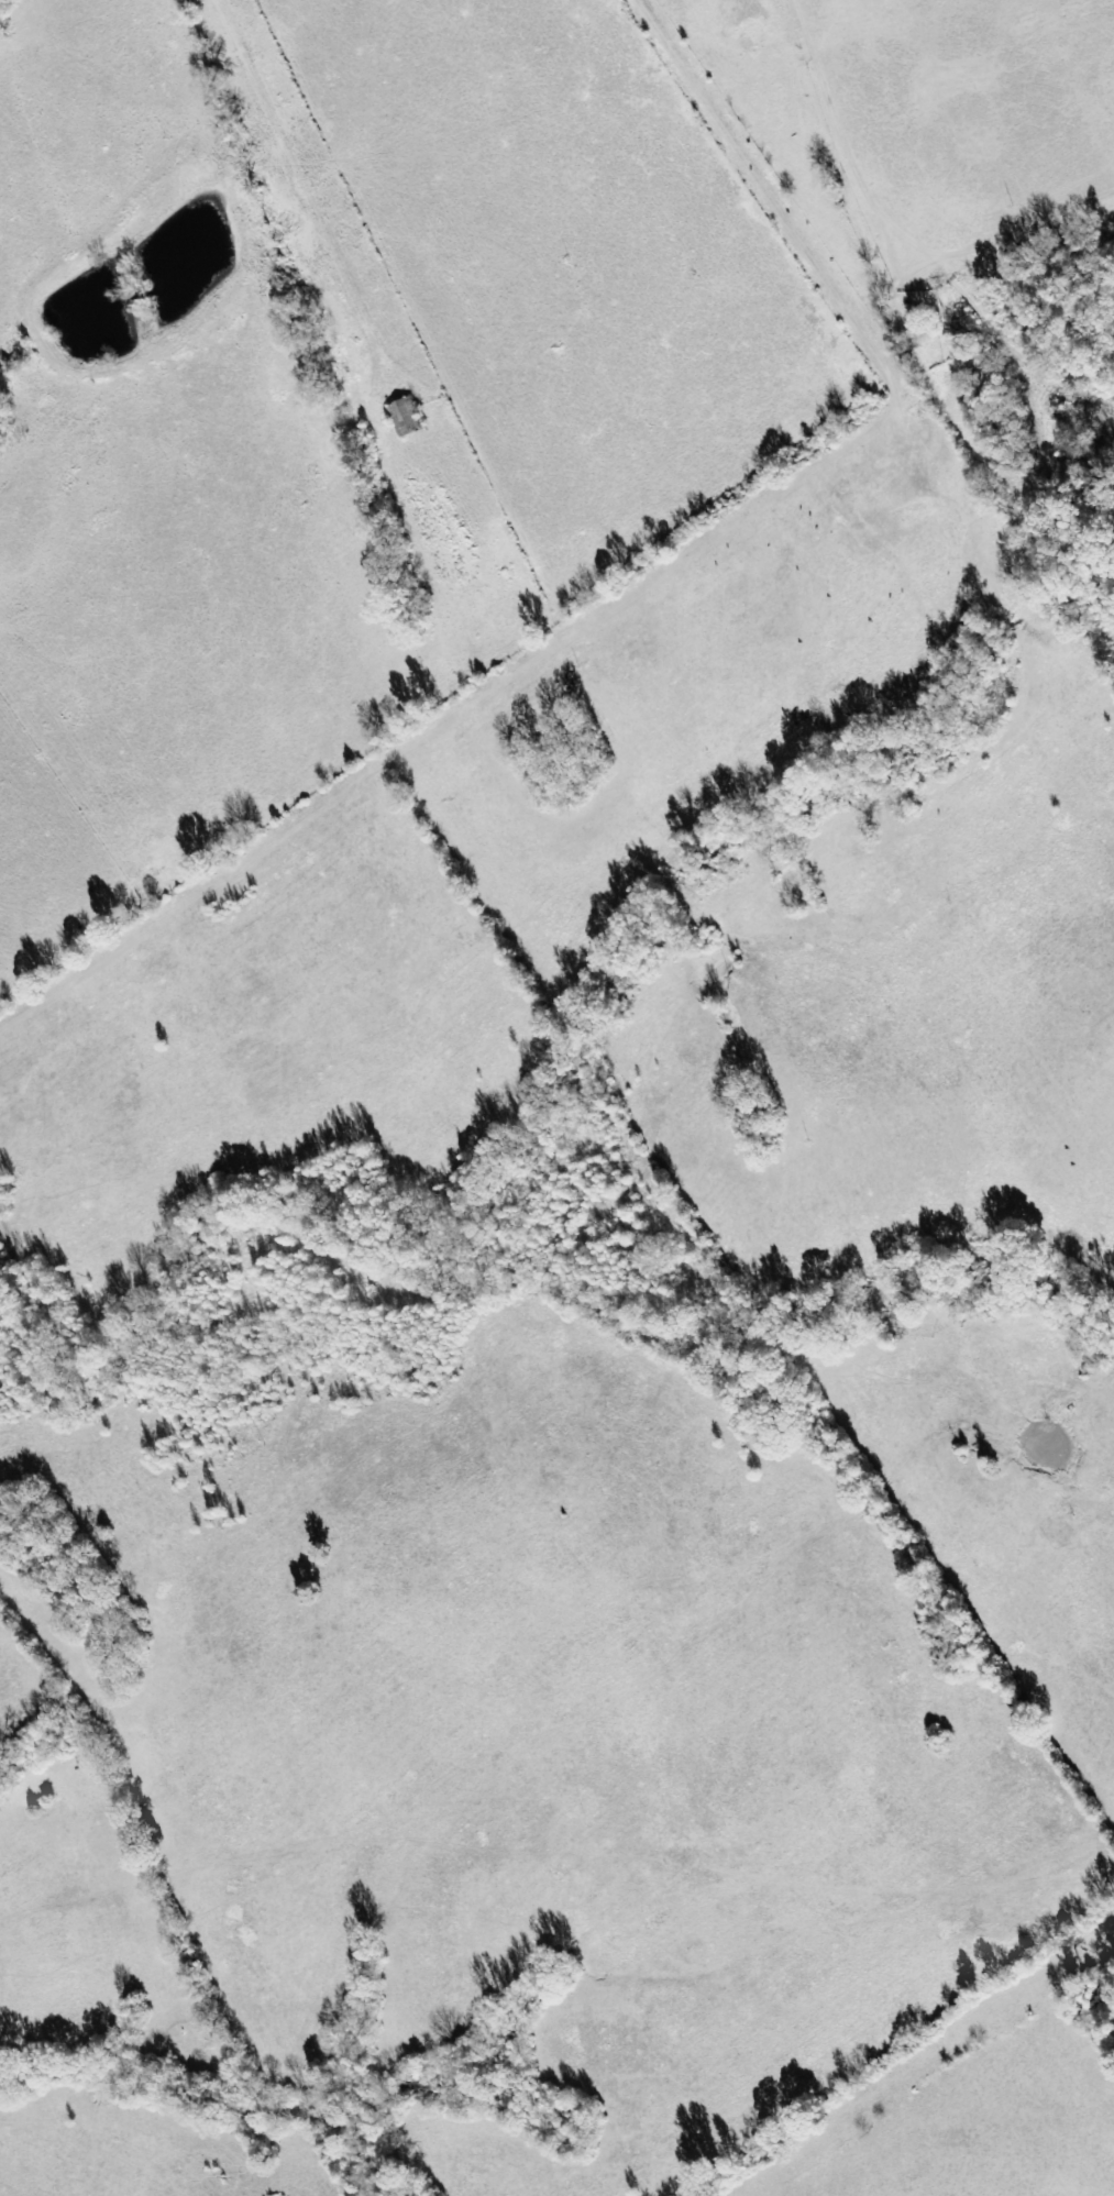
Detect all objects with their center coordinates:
road: (1004, 362)
building: (408, 417)
road: (1070, 463)

